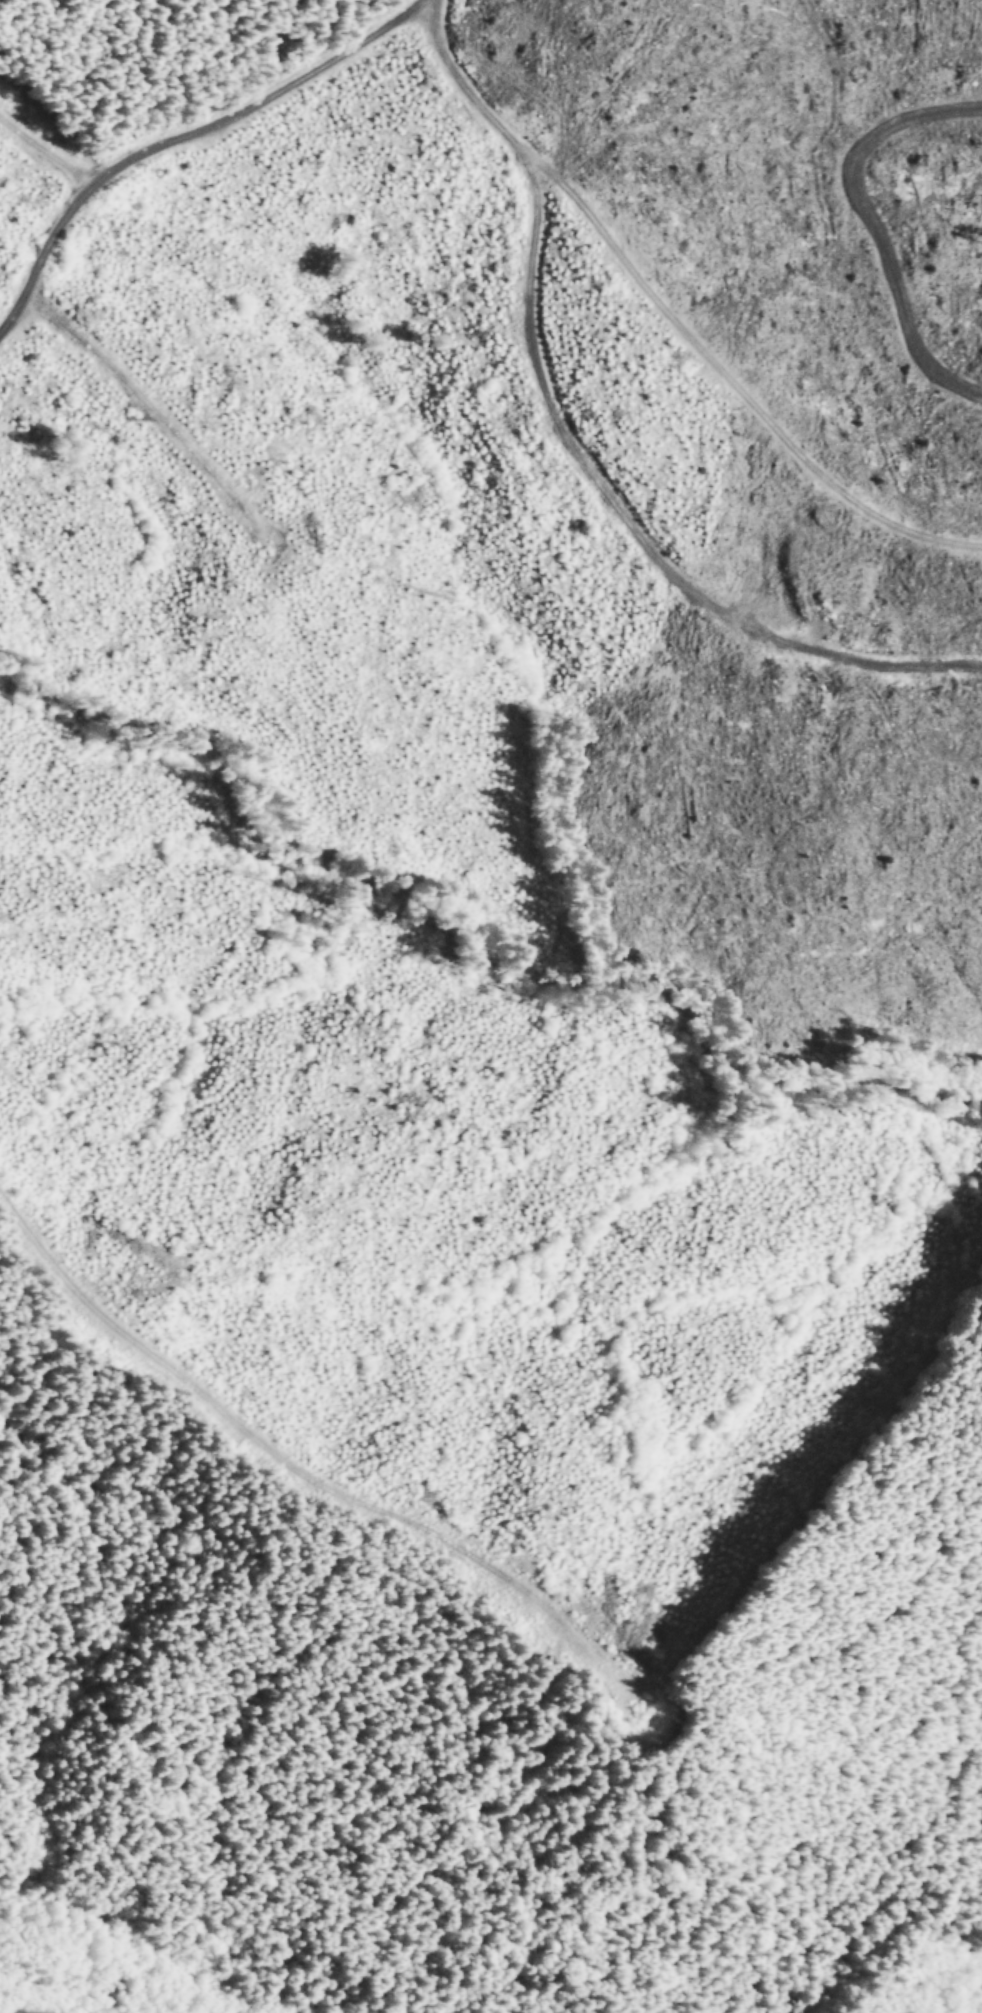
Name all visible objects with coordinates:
road: (180, 138)
road: (730, 376)
road: (567, 453)
road: (298, 1462)
road: (49, 1830)

